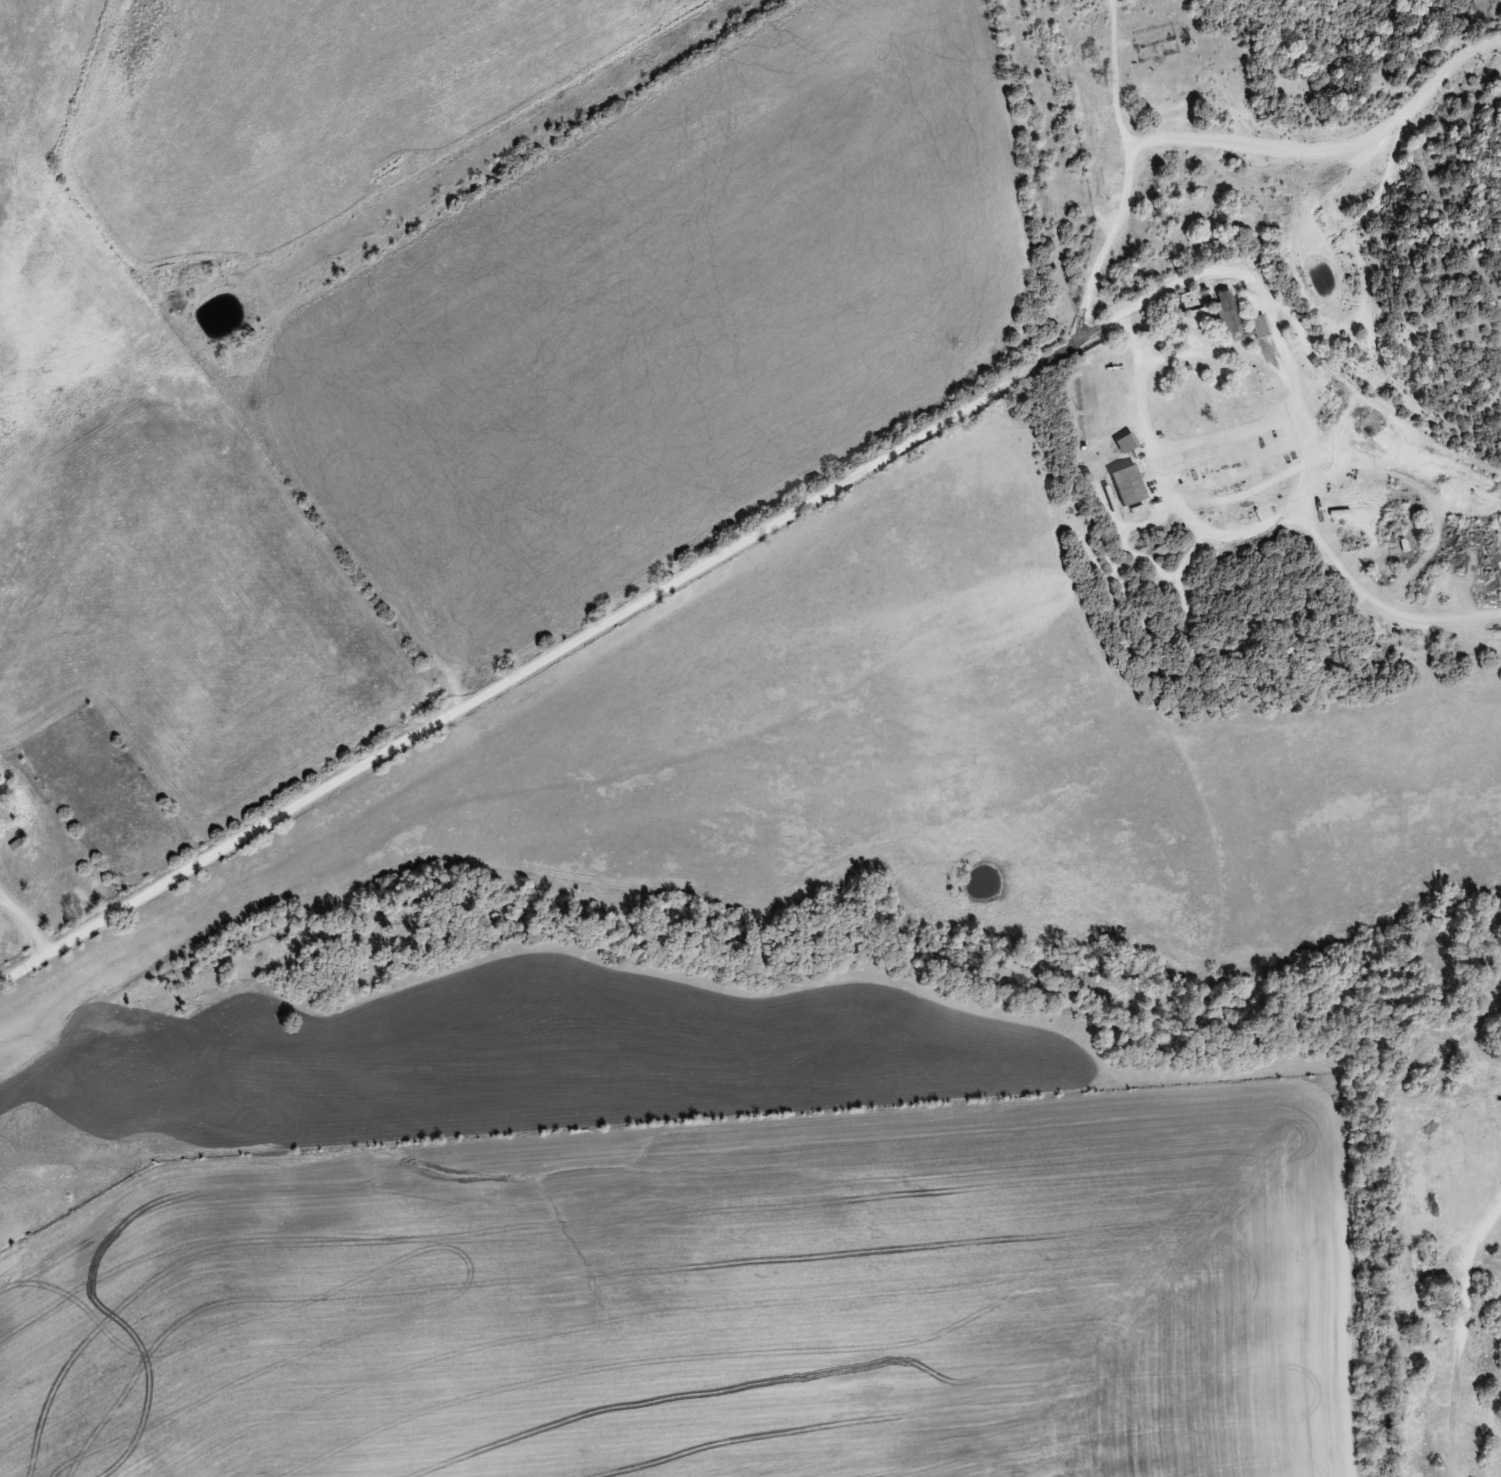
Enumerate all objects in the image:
building: (1232, 321)
building: (1126, 484)
road: (618, 615)

